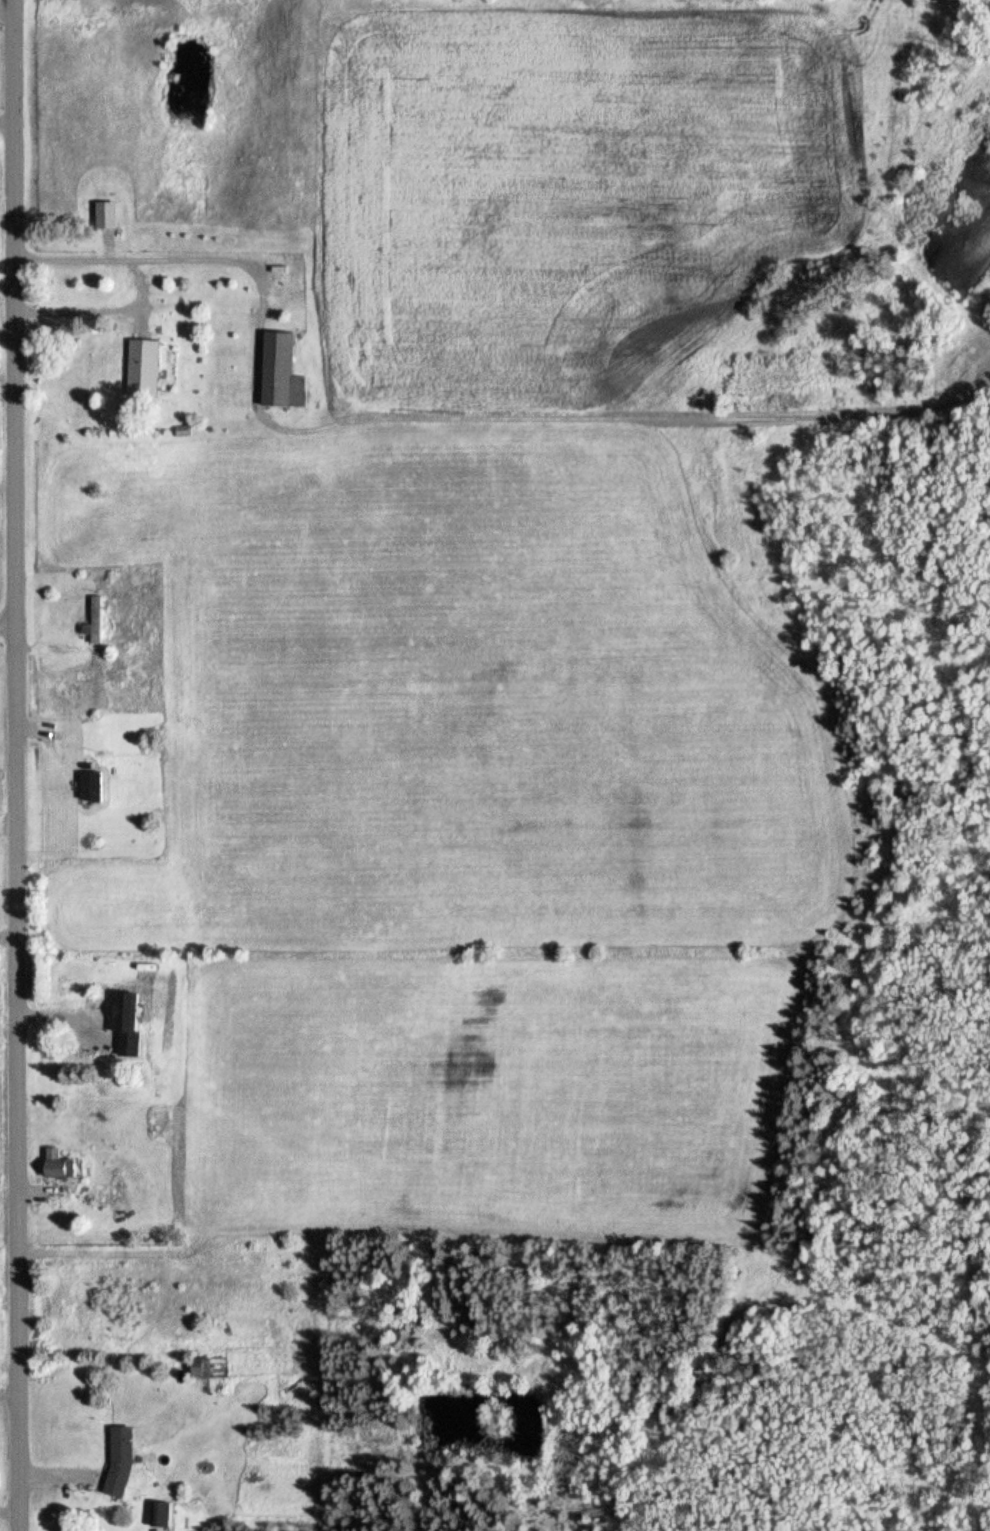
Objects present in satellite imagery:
road: (10, 12)
road: (10, 124)
road: (82, 314)
building: (143, 369)
building: (280, 372)
road: (437, 419)
building: (95, 621)
road: (5, 626)
road: (11, 765)
building: (89, 788)
building: (86, 1036)
building: (58, 1166)
building: (121, 1461)

